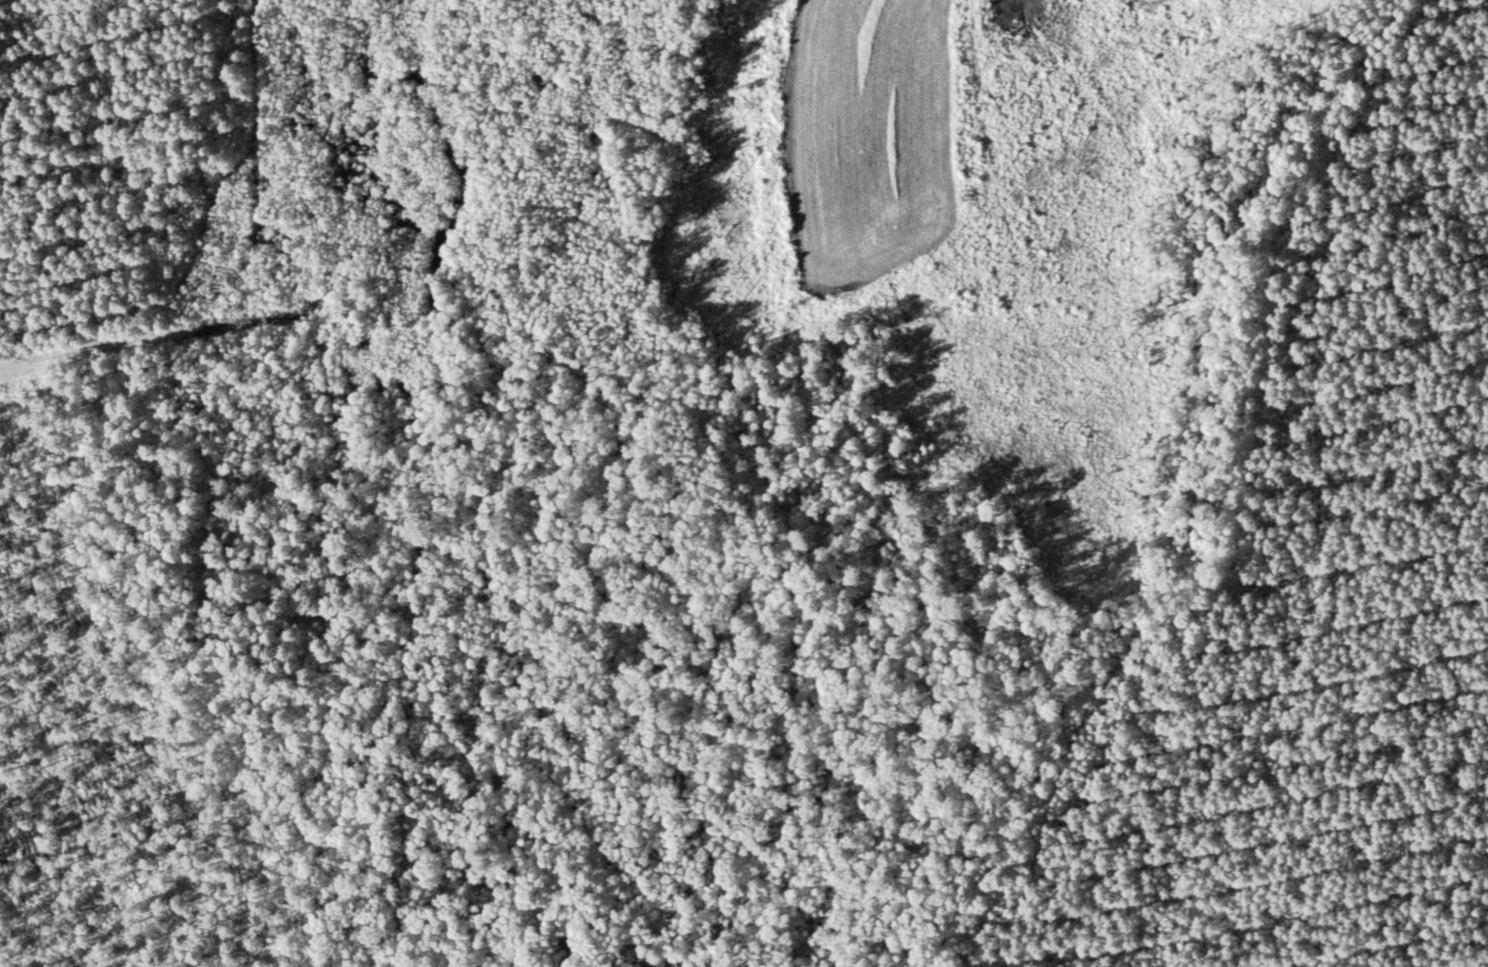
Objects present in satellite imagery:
road: (54, 401)

